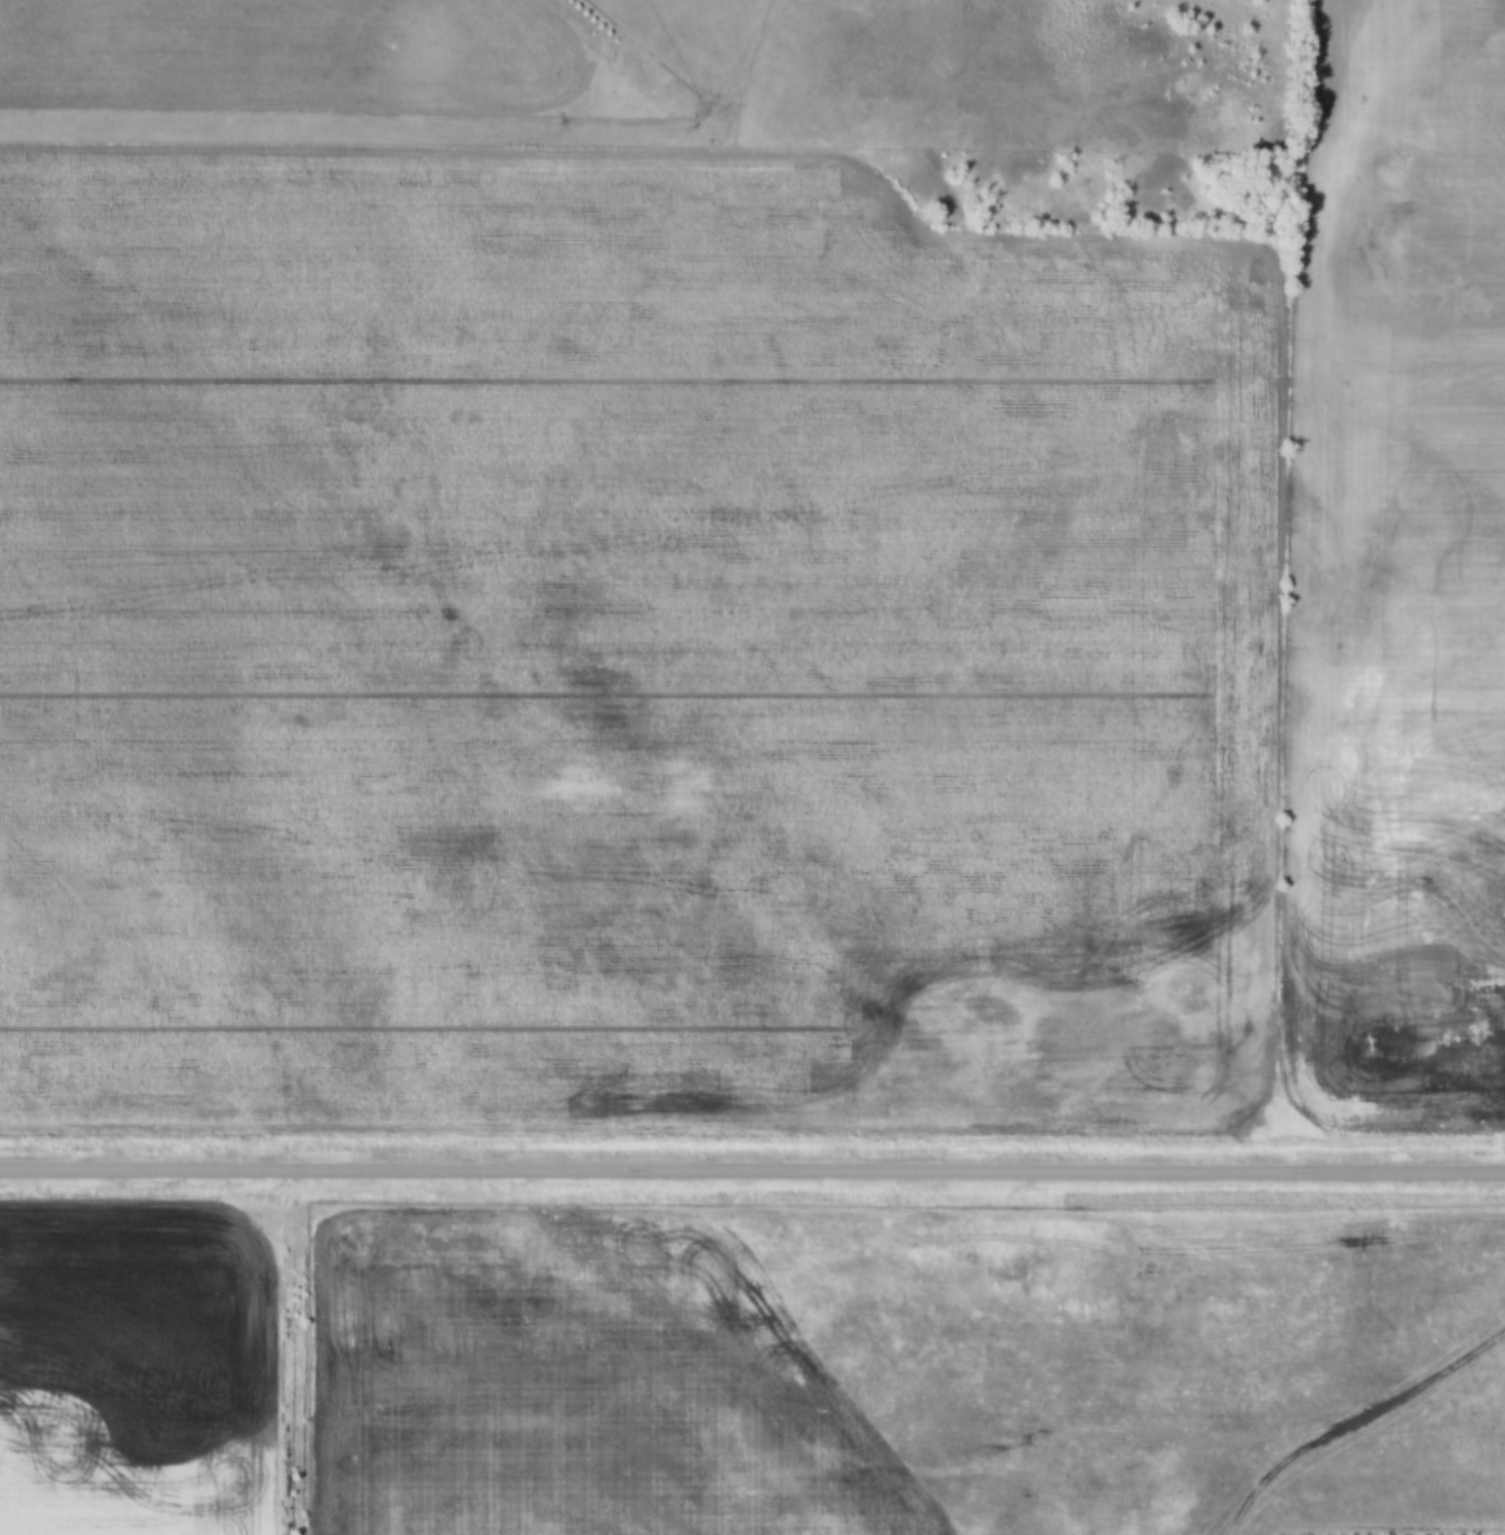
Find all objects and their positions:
road: (752, 1165)

